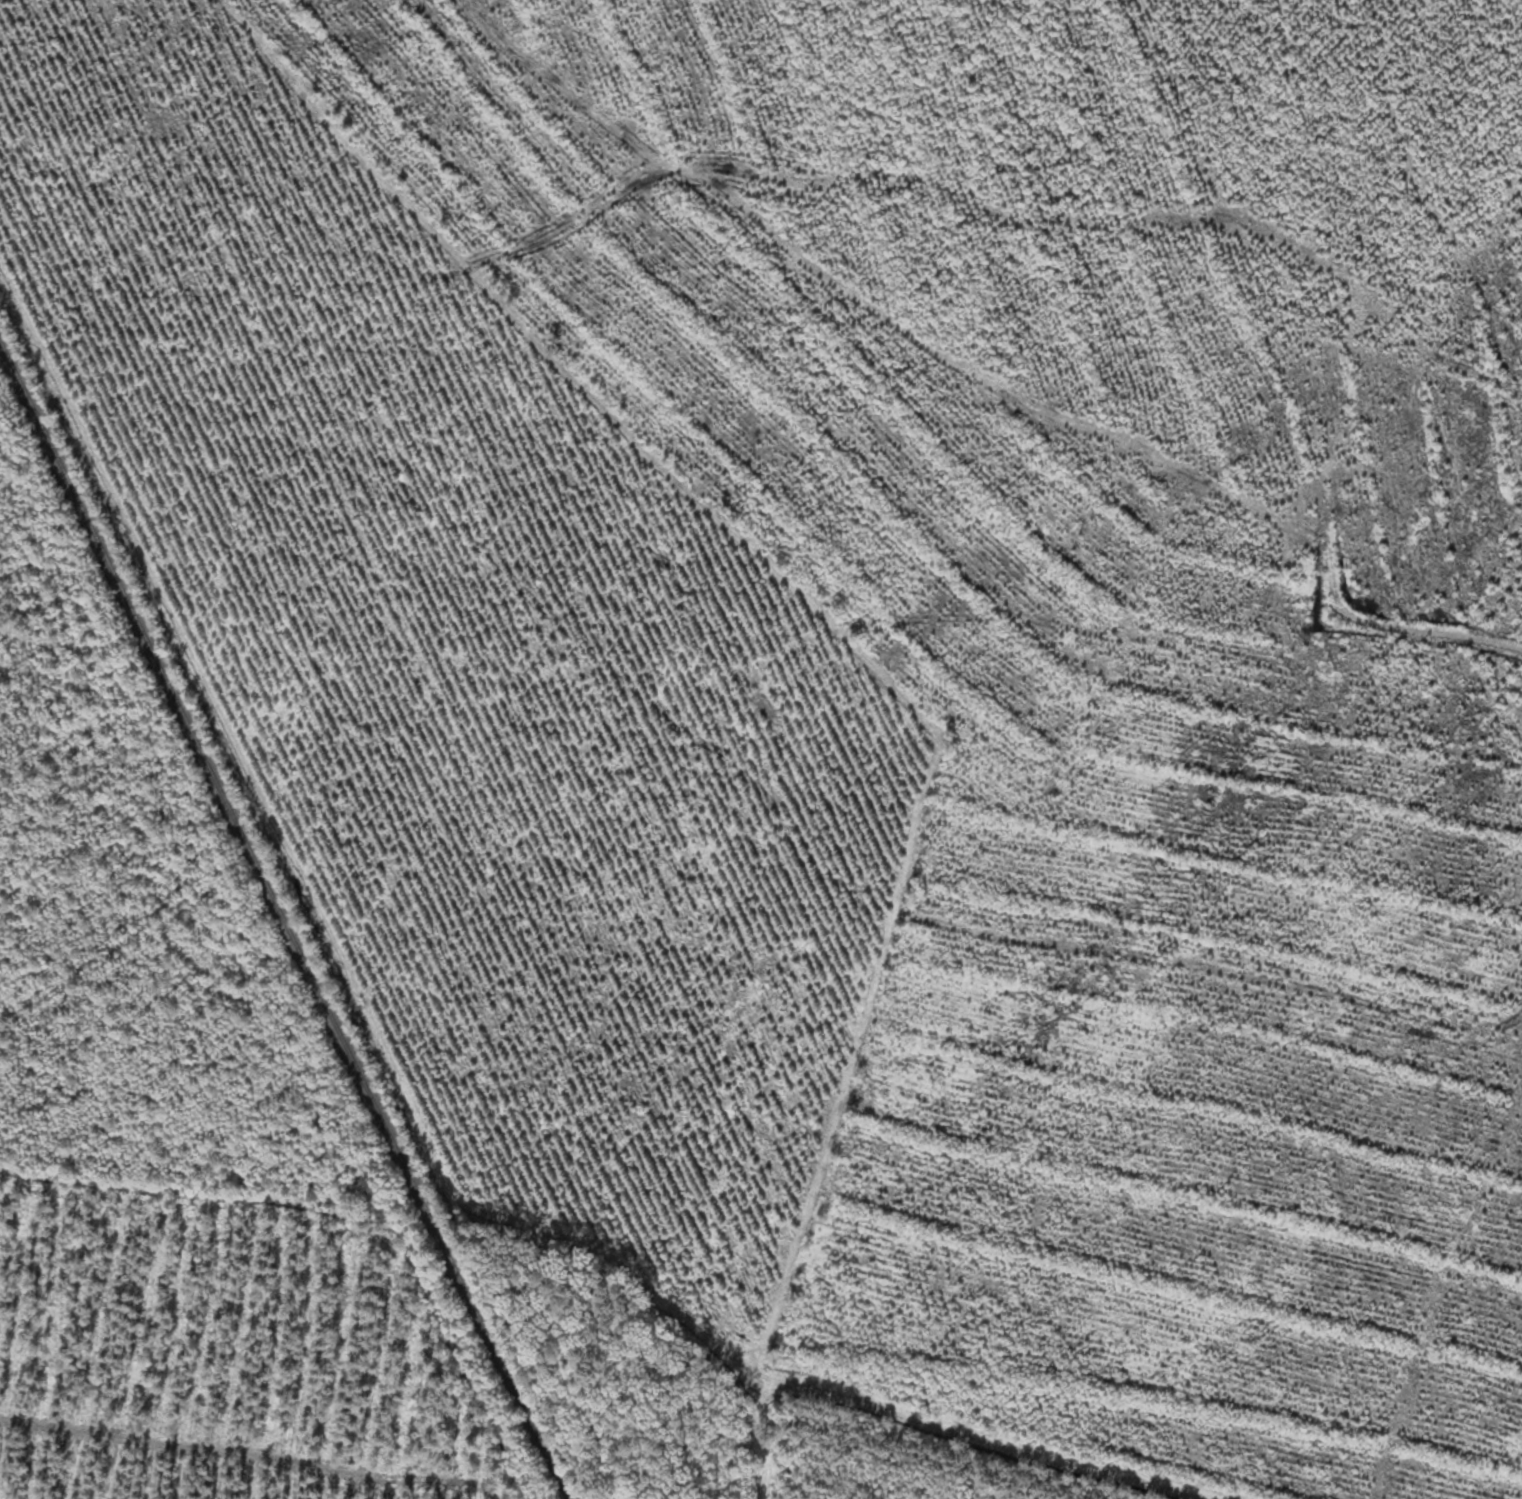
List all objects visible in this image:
railway: (286, 917)

